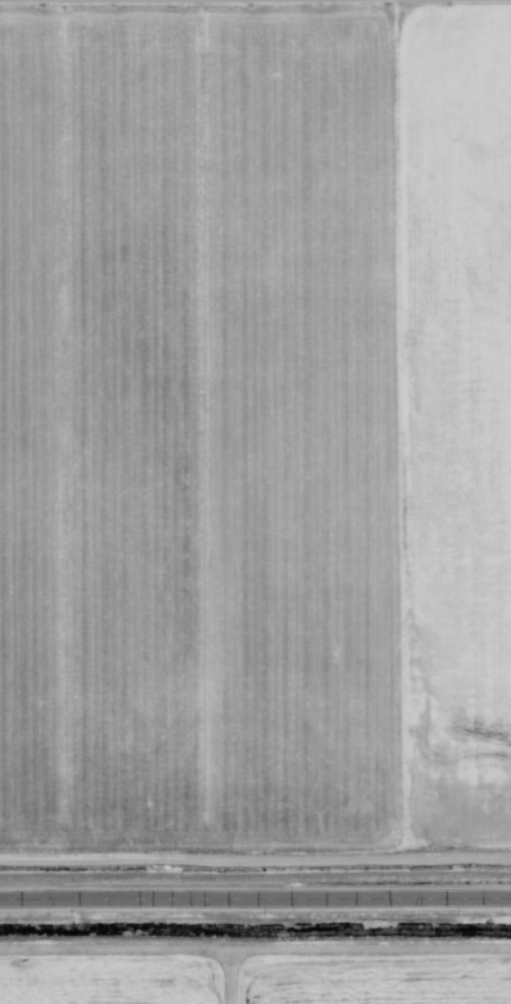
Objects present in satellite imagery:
road: (255, 904)

